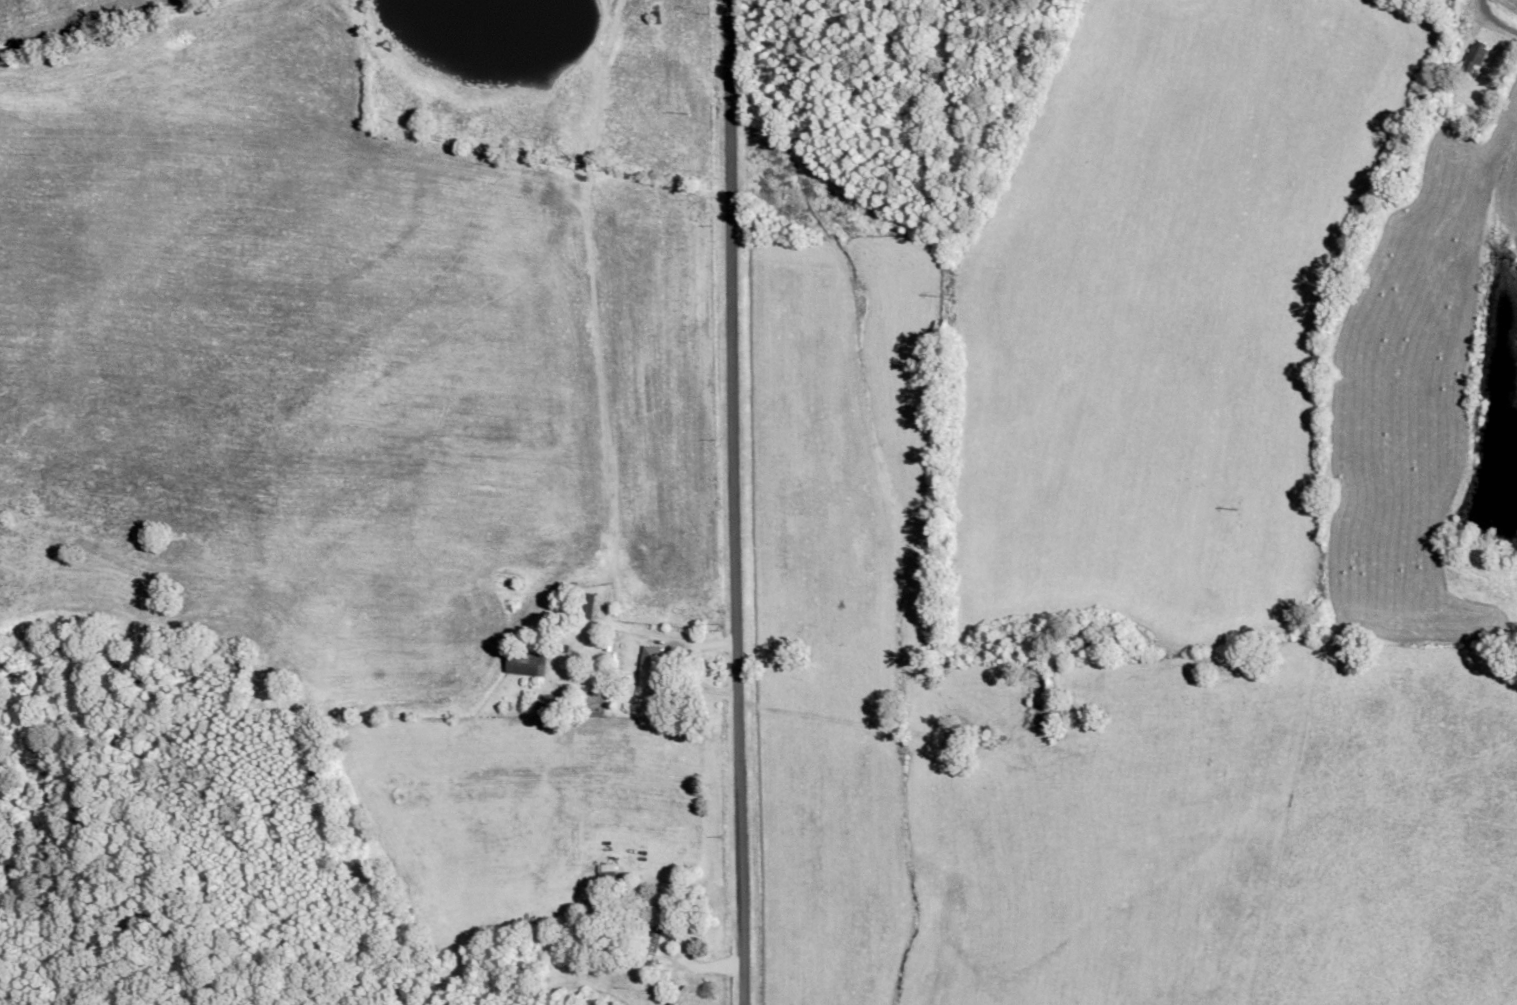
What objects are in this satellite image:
road: (1483, 19)
building: (1472, 59)
road: (730, 502)
building: (589, 608)
building: (528, 665)
building: (652, 672)
building: (657, 933)

